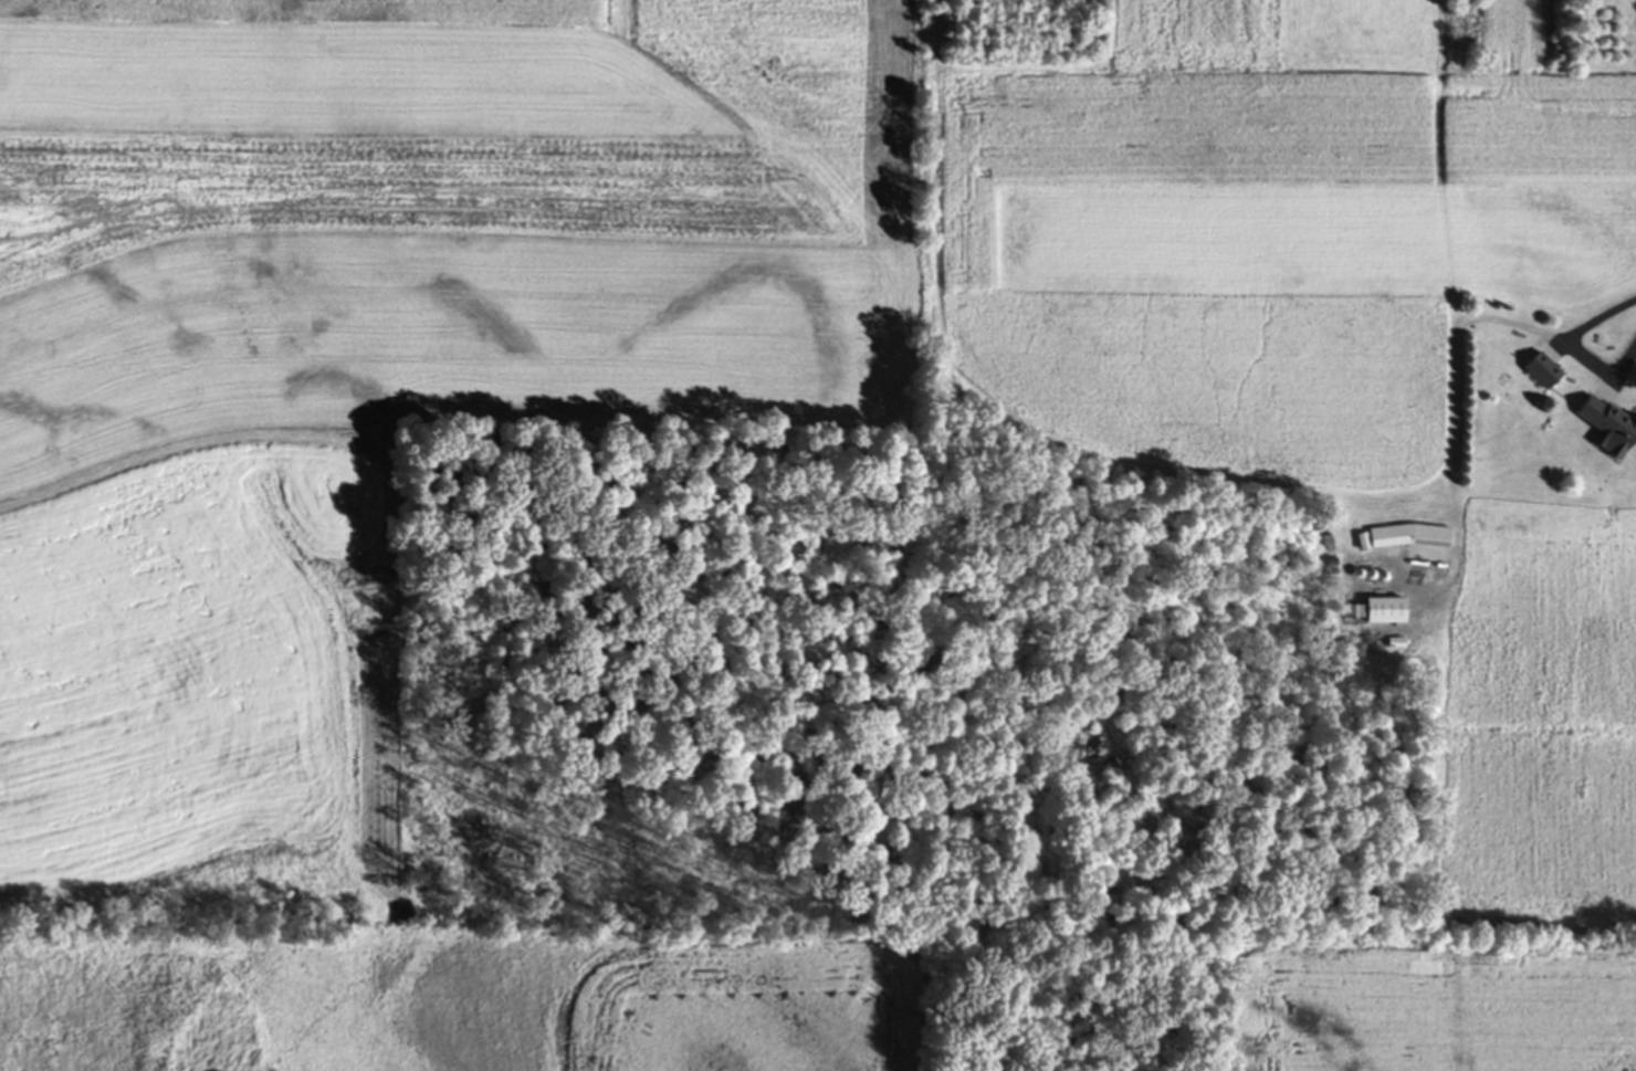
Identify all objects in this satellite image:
road: (1570, 344)
building: (1538, 372)
building: (1603, 427)
building: (1399, 538)
building: (1377, 612)

